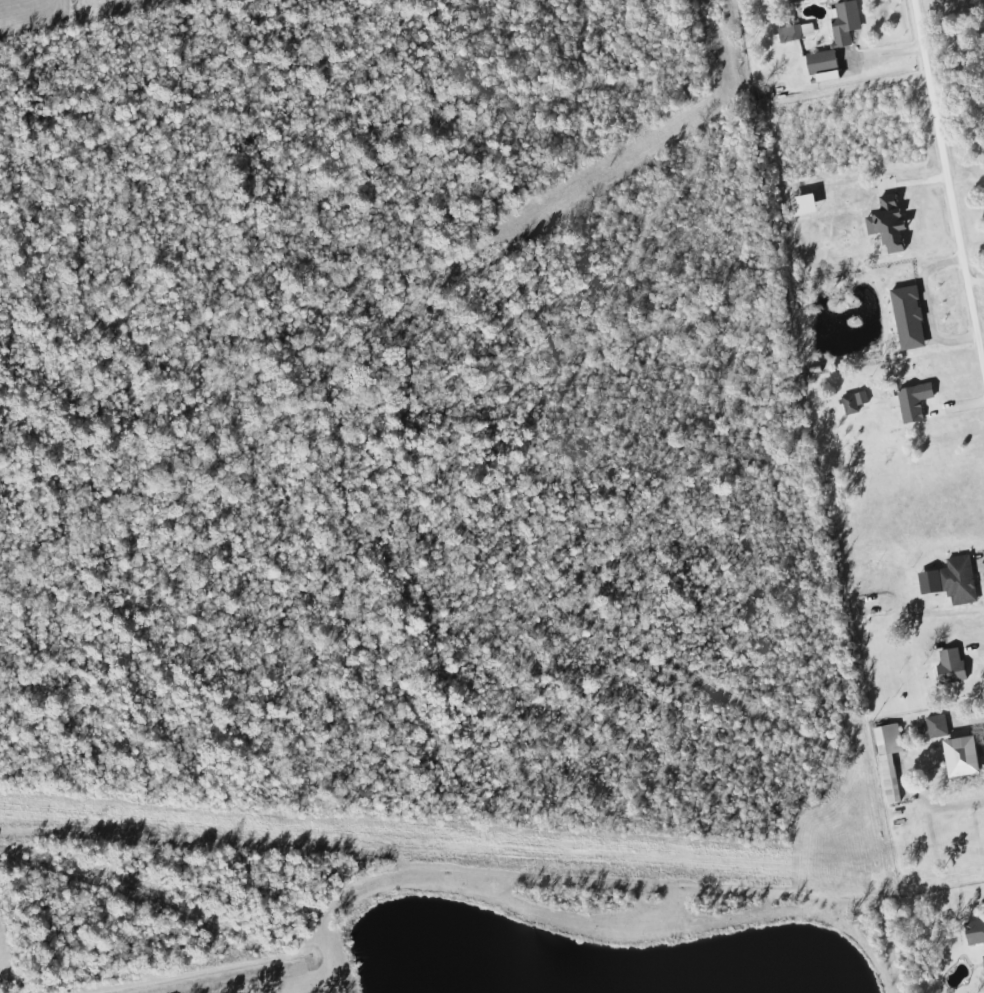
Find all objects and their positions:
building: (843, 23)
building: (795, 32)
building: (819, 66)
road: (949, 187)
building: (803, 205)
building: (887, 225)
road: (977, 288)
road: (925, 306)
building: (907, 318)
building: (853, 402)
building: (913, 402)
building: (957, 580)
building: (948, 668)
road: (966, 719)
building: (935, 726)
building: (961, 757)
building: (887, 759)
building: (974, 933)
building: (983, 962)

